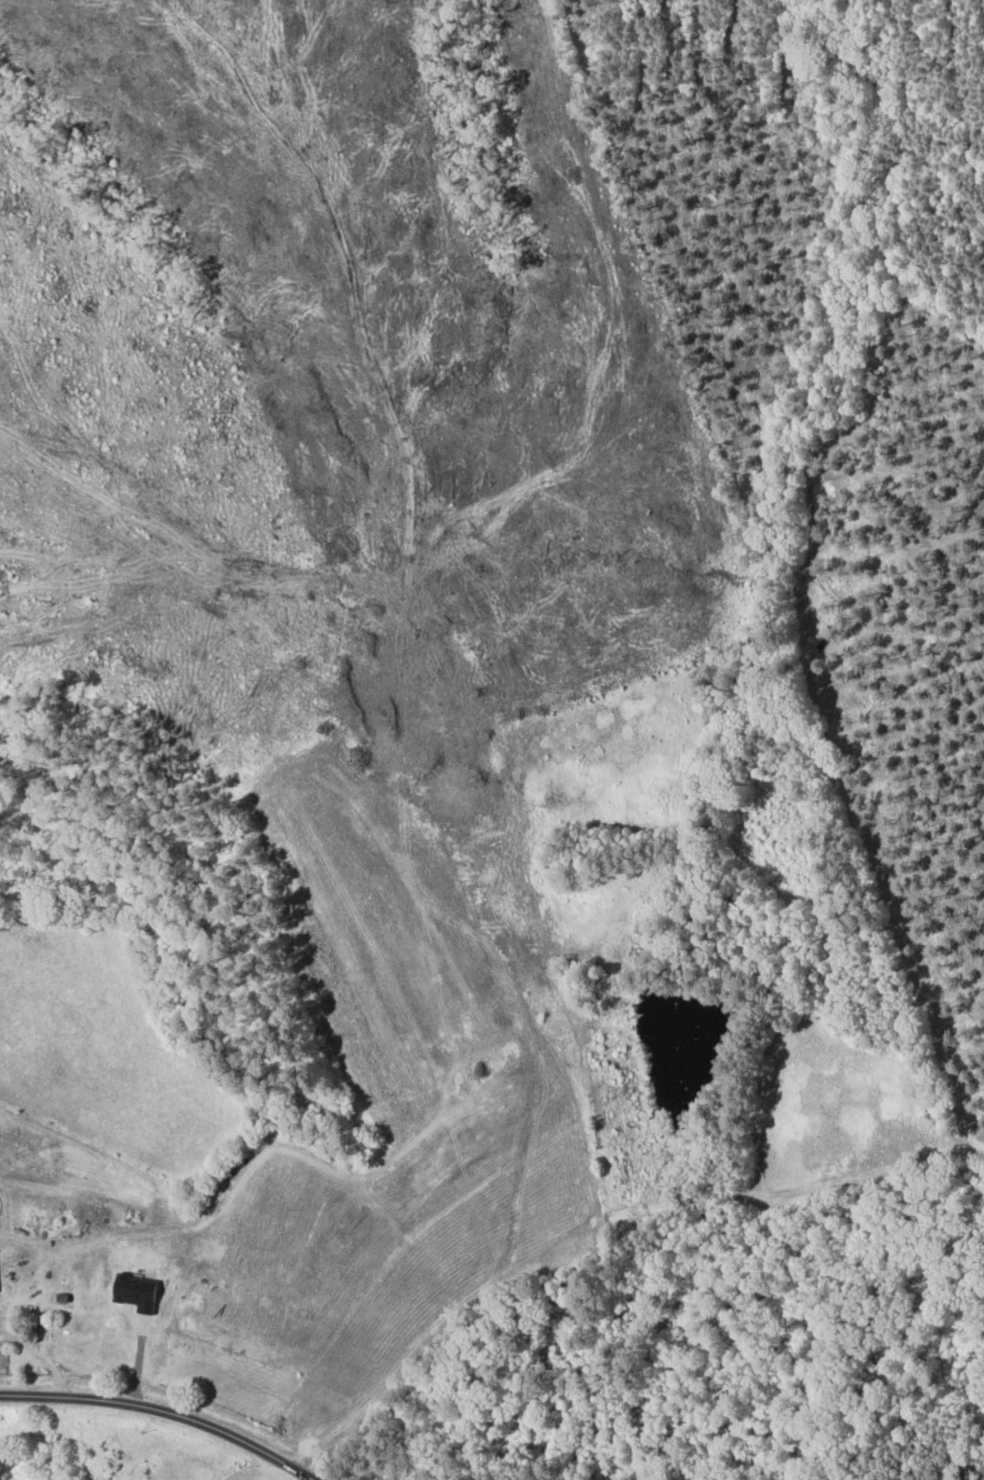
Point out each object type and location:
building: (0, 1287)
building: (62, 1297)
road: (41, 1357)
road: (160, 1414)

